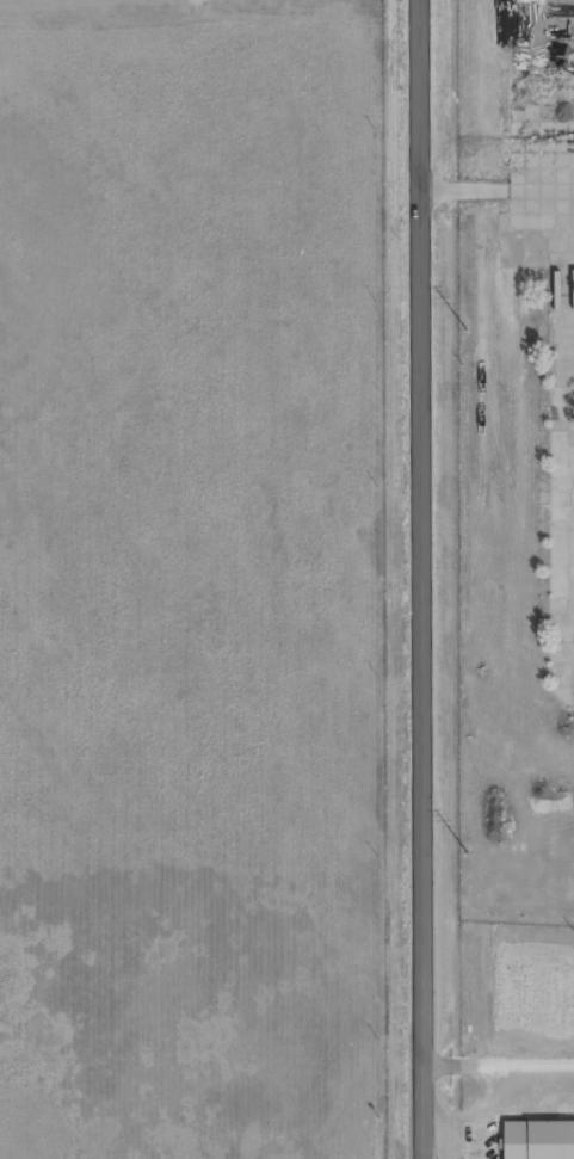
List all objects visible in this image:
building: (532, 174)
power tower: (465, 331)
road: (418, 579)
power tower: (469, 852)
building: (538, 1140)

